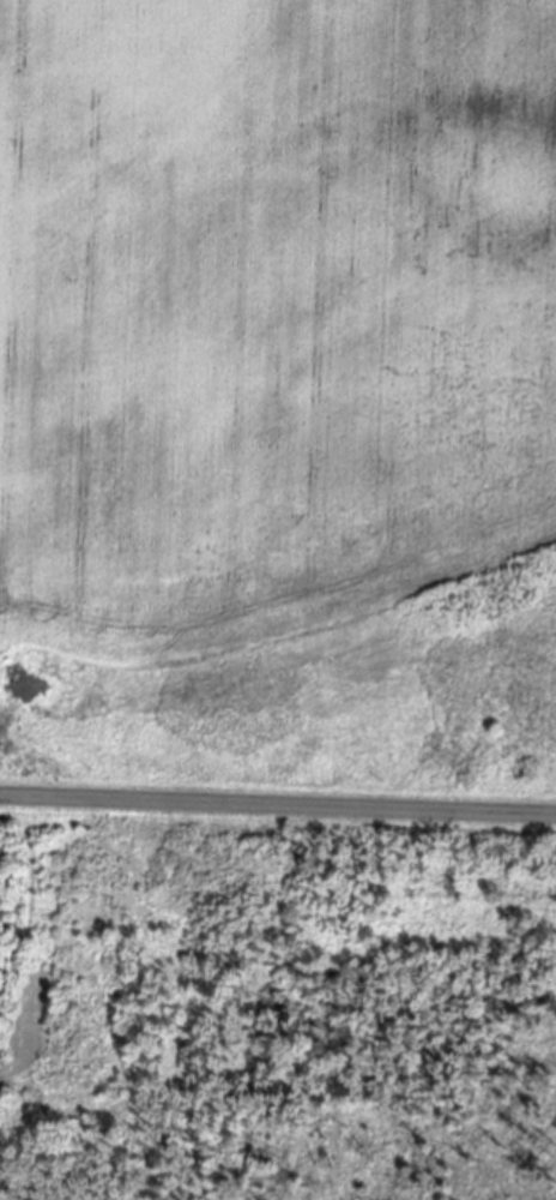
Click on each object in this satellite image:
road: (278, 803)

